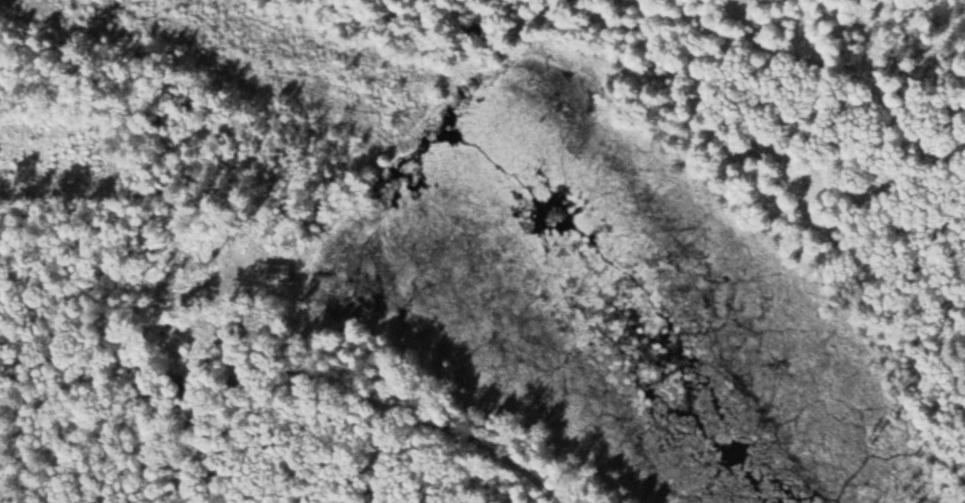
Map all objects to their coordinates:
road: (813, 52)

